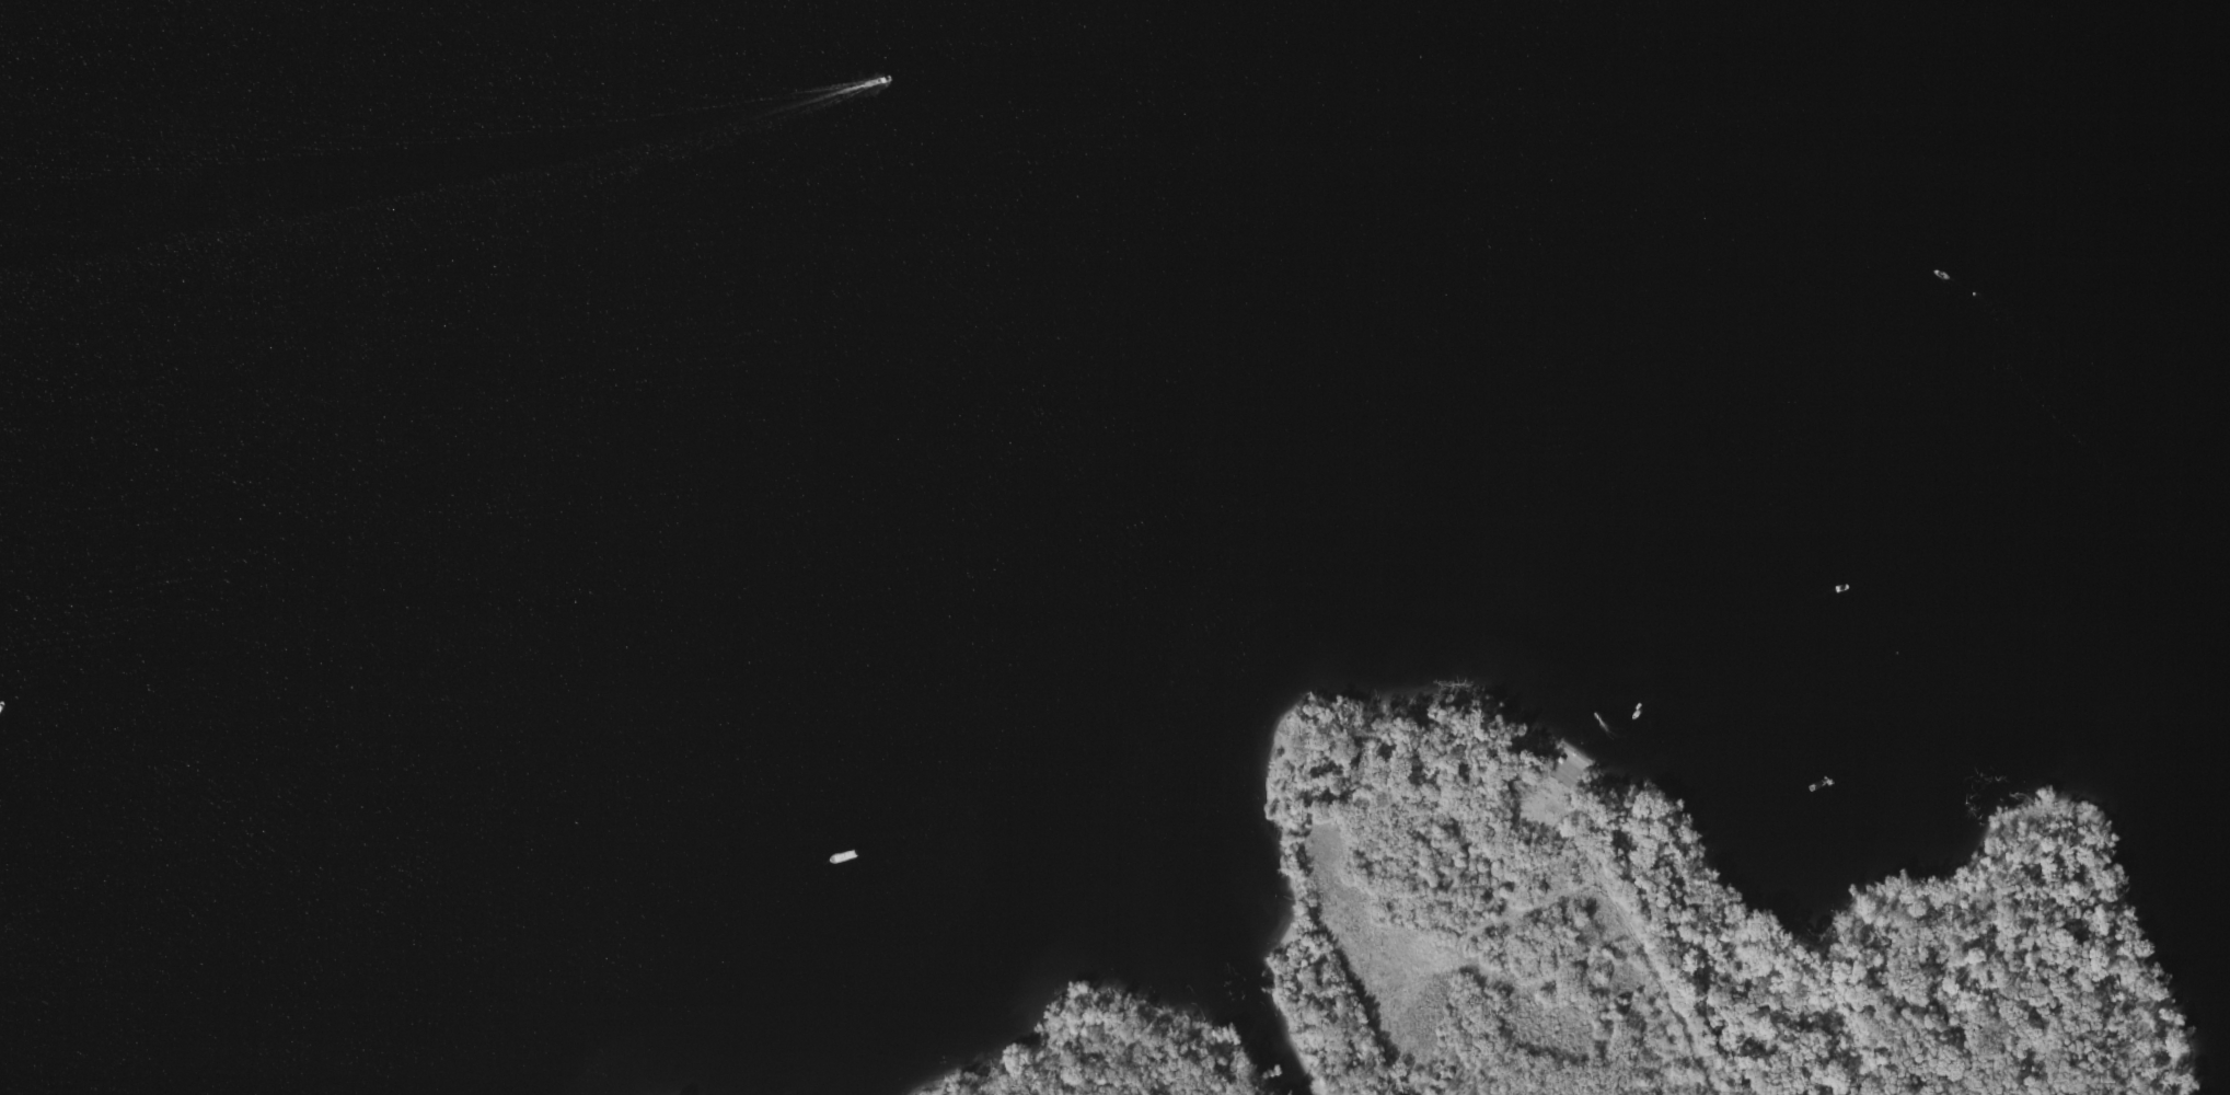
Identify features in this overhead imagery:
park: (1672, 930)
park: (1131, 1053)

